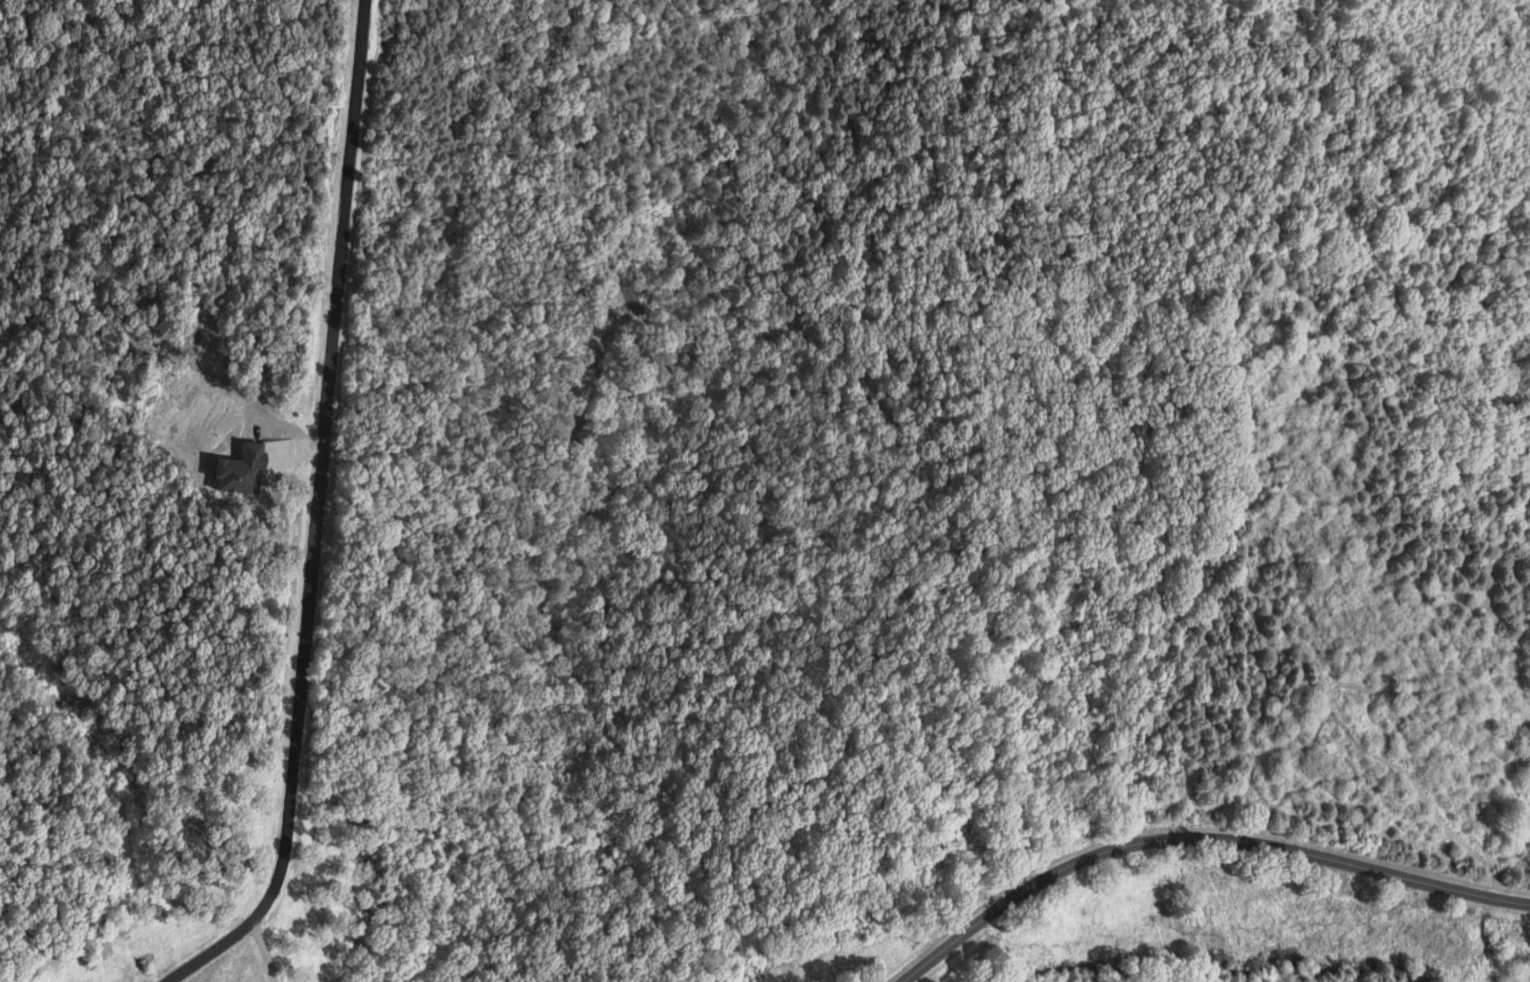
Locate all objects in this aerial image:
building: (243, 470)
road: (318, 515)
road: (1199, 838)
road: (264, 953)

